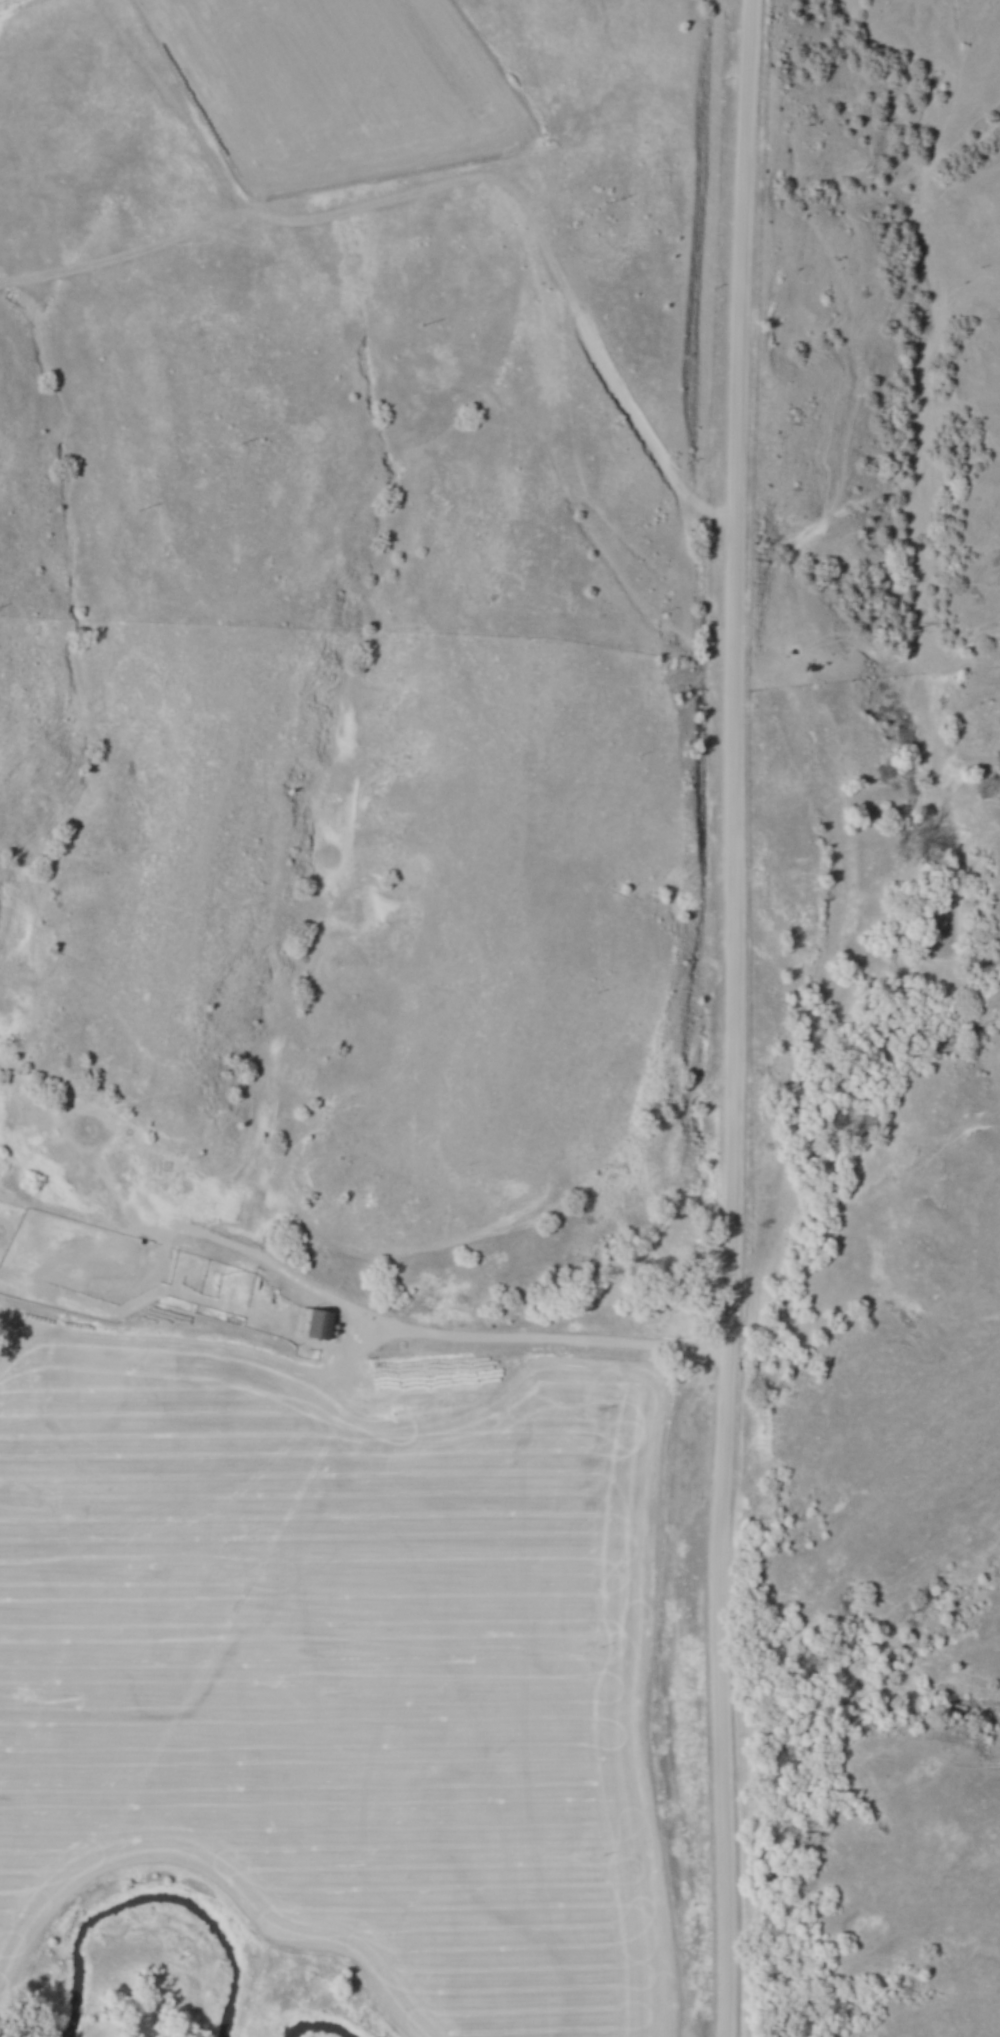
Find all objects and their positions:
road: (734, 1018)
building: (92, 1131)
building: (313, 1319)
road: (389, 1323)
crop: (386, 1685)

